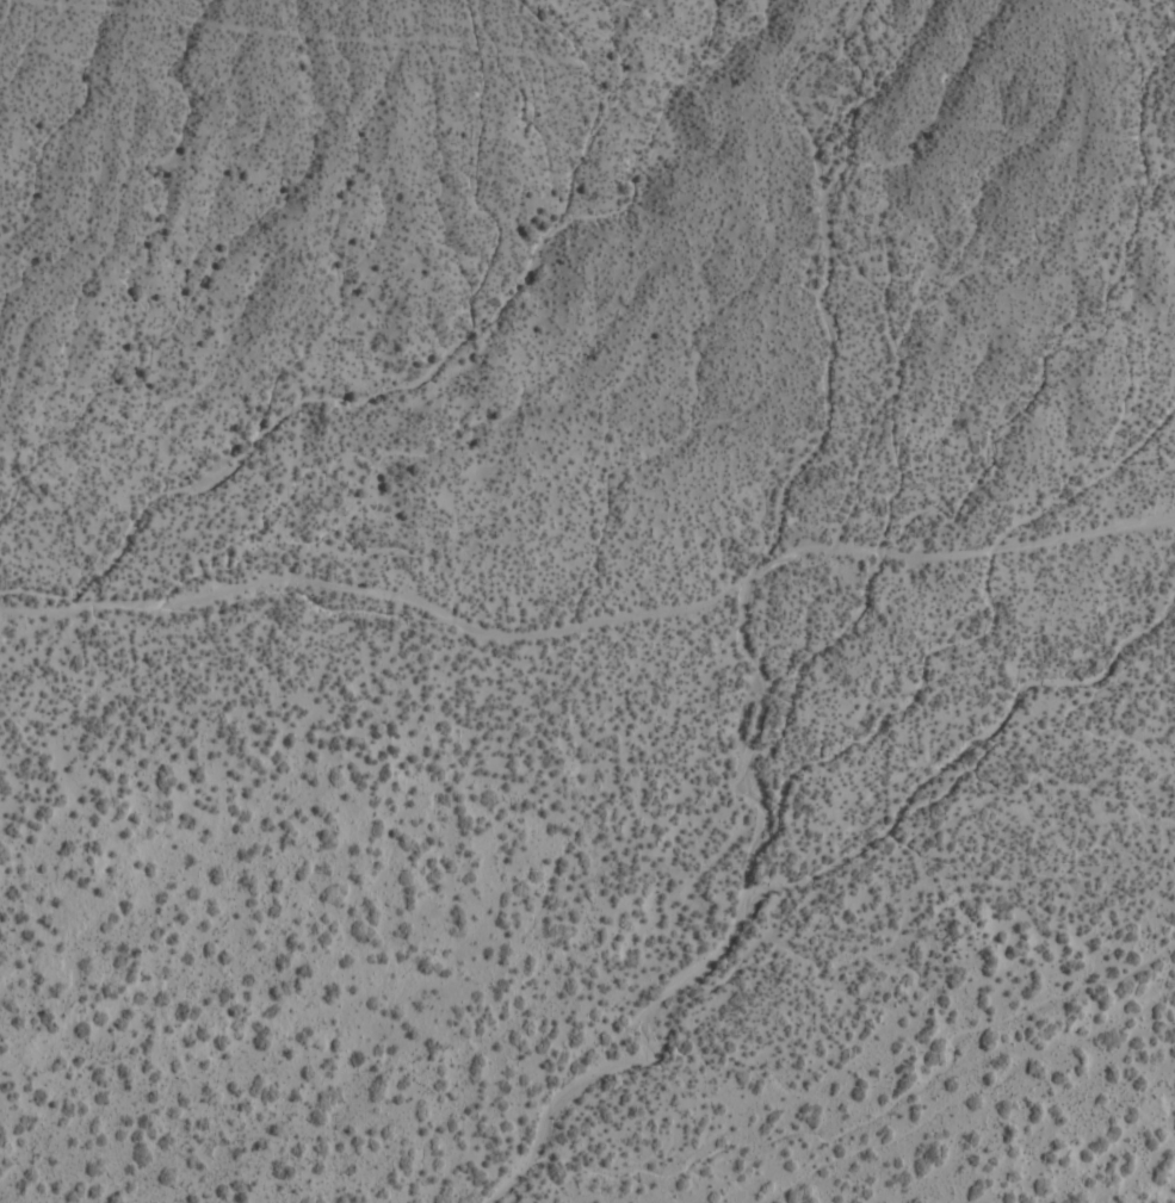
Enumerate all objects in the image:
road: (1165, 445)

